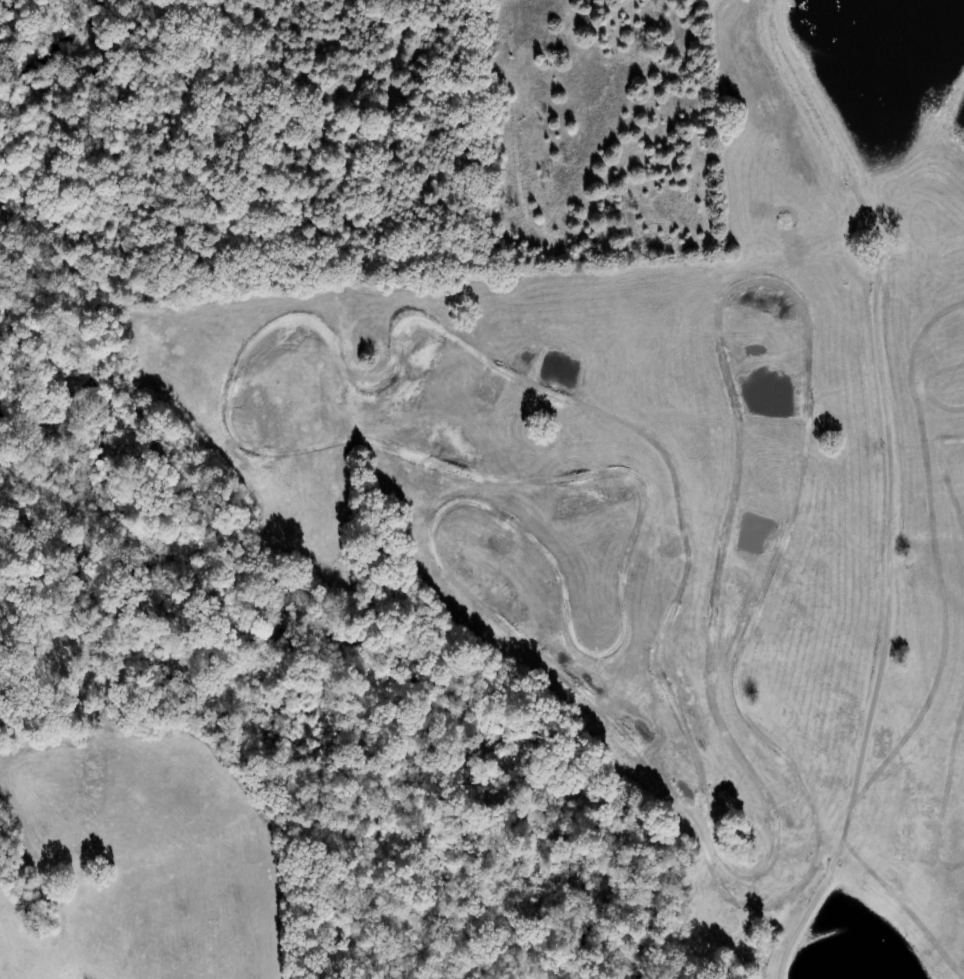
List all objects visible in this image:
road: (888, 877)

